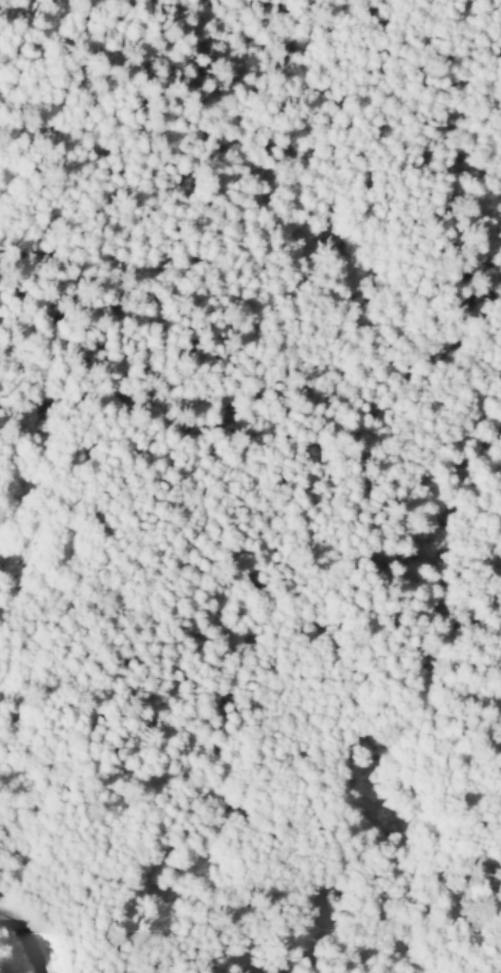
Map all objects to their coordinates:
road: (32, 936)
road: (31, 951)

